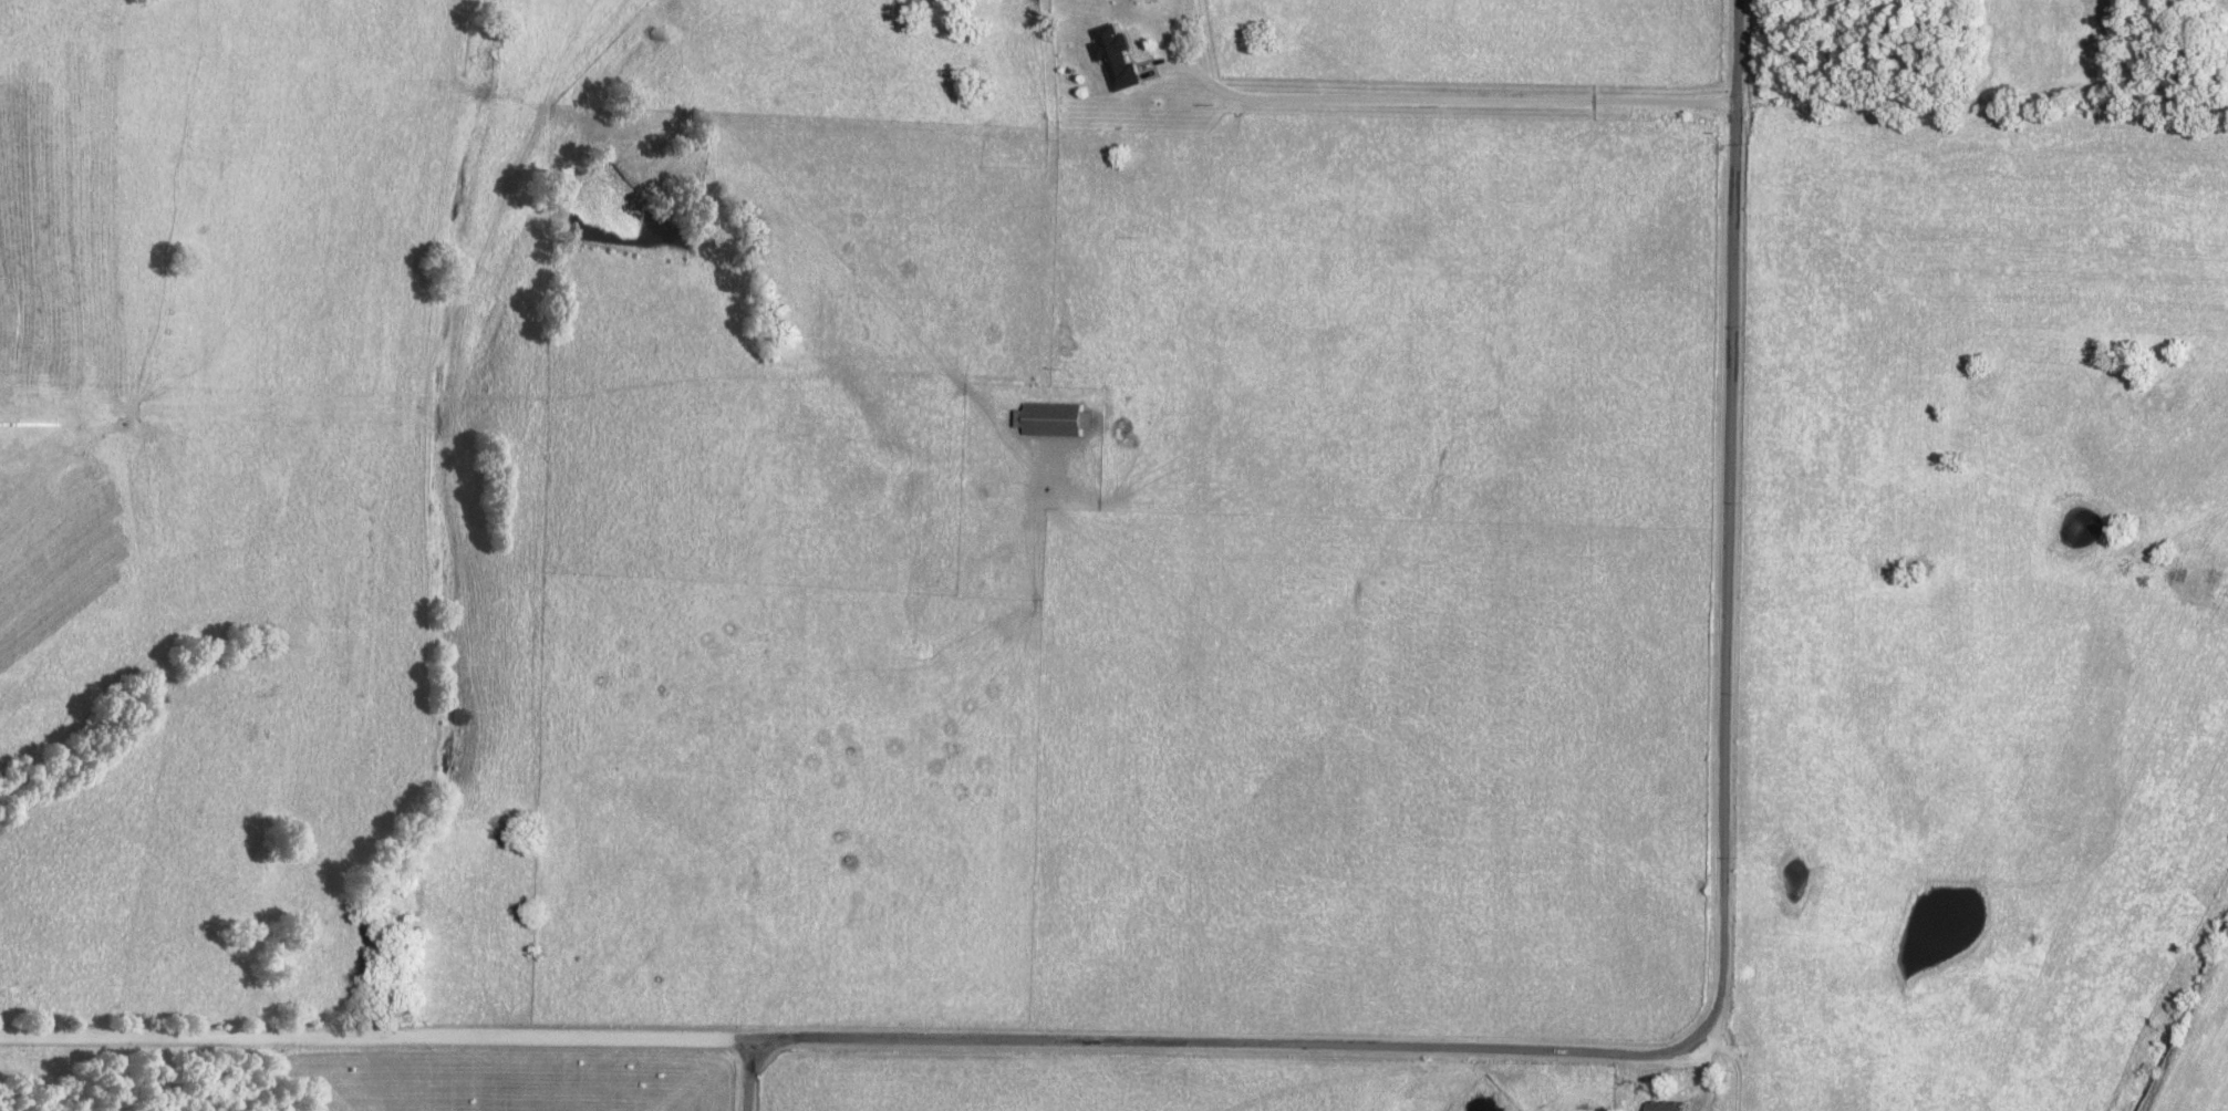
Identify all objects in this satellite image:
building: (1109, 58)
road: (1421, 98)
building: (1046, 419)
road: (1729, 515)
road: (860, 1042)
road: (1734, 1066)
road: (746, 1077)
building: (1659, 1107)

